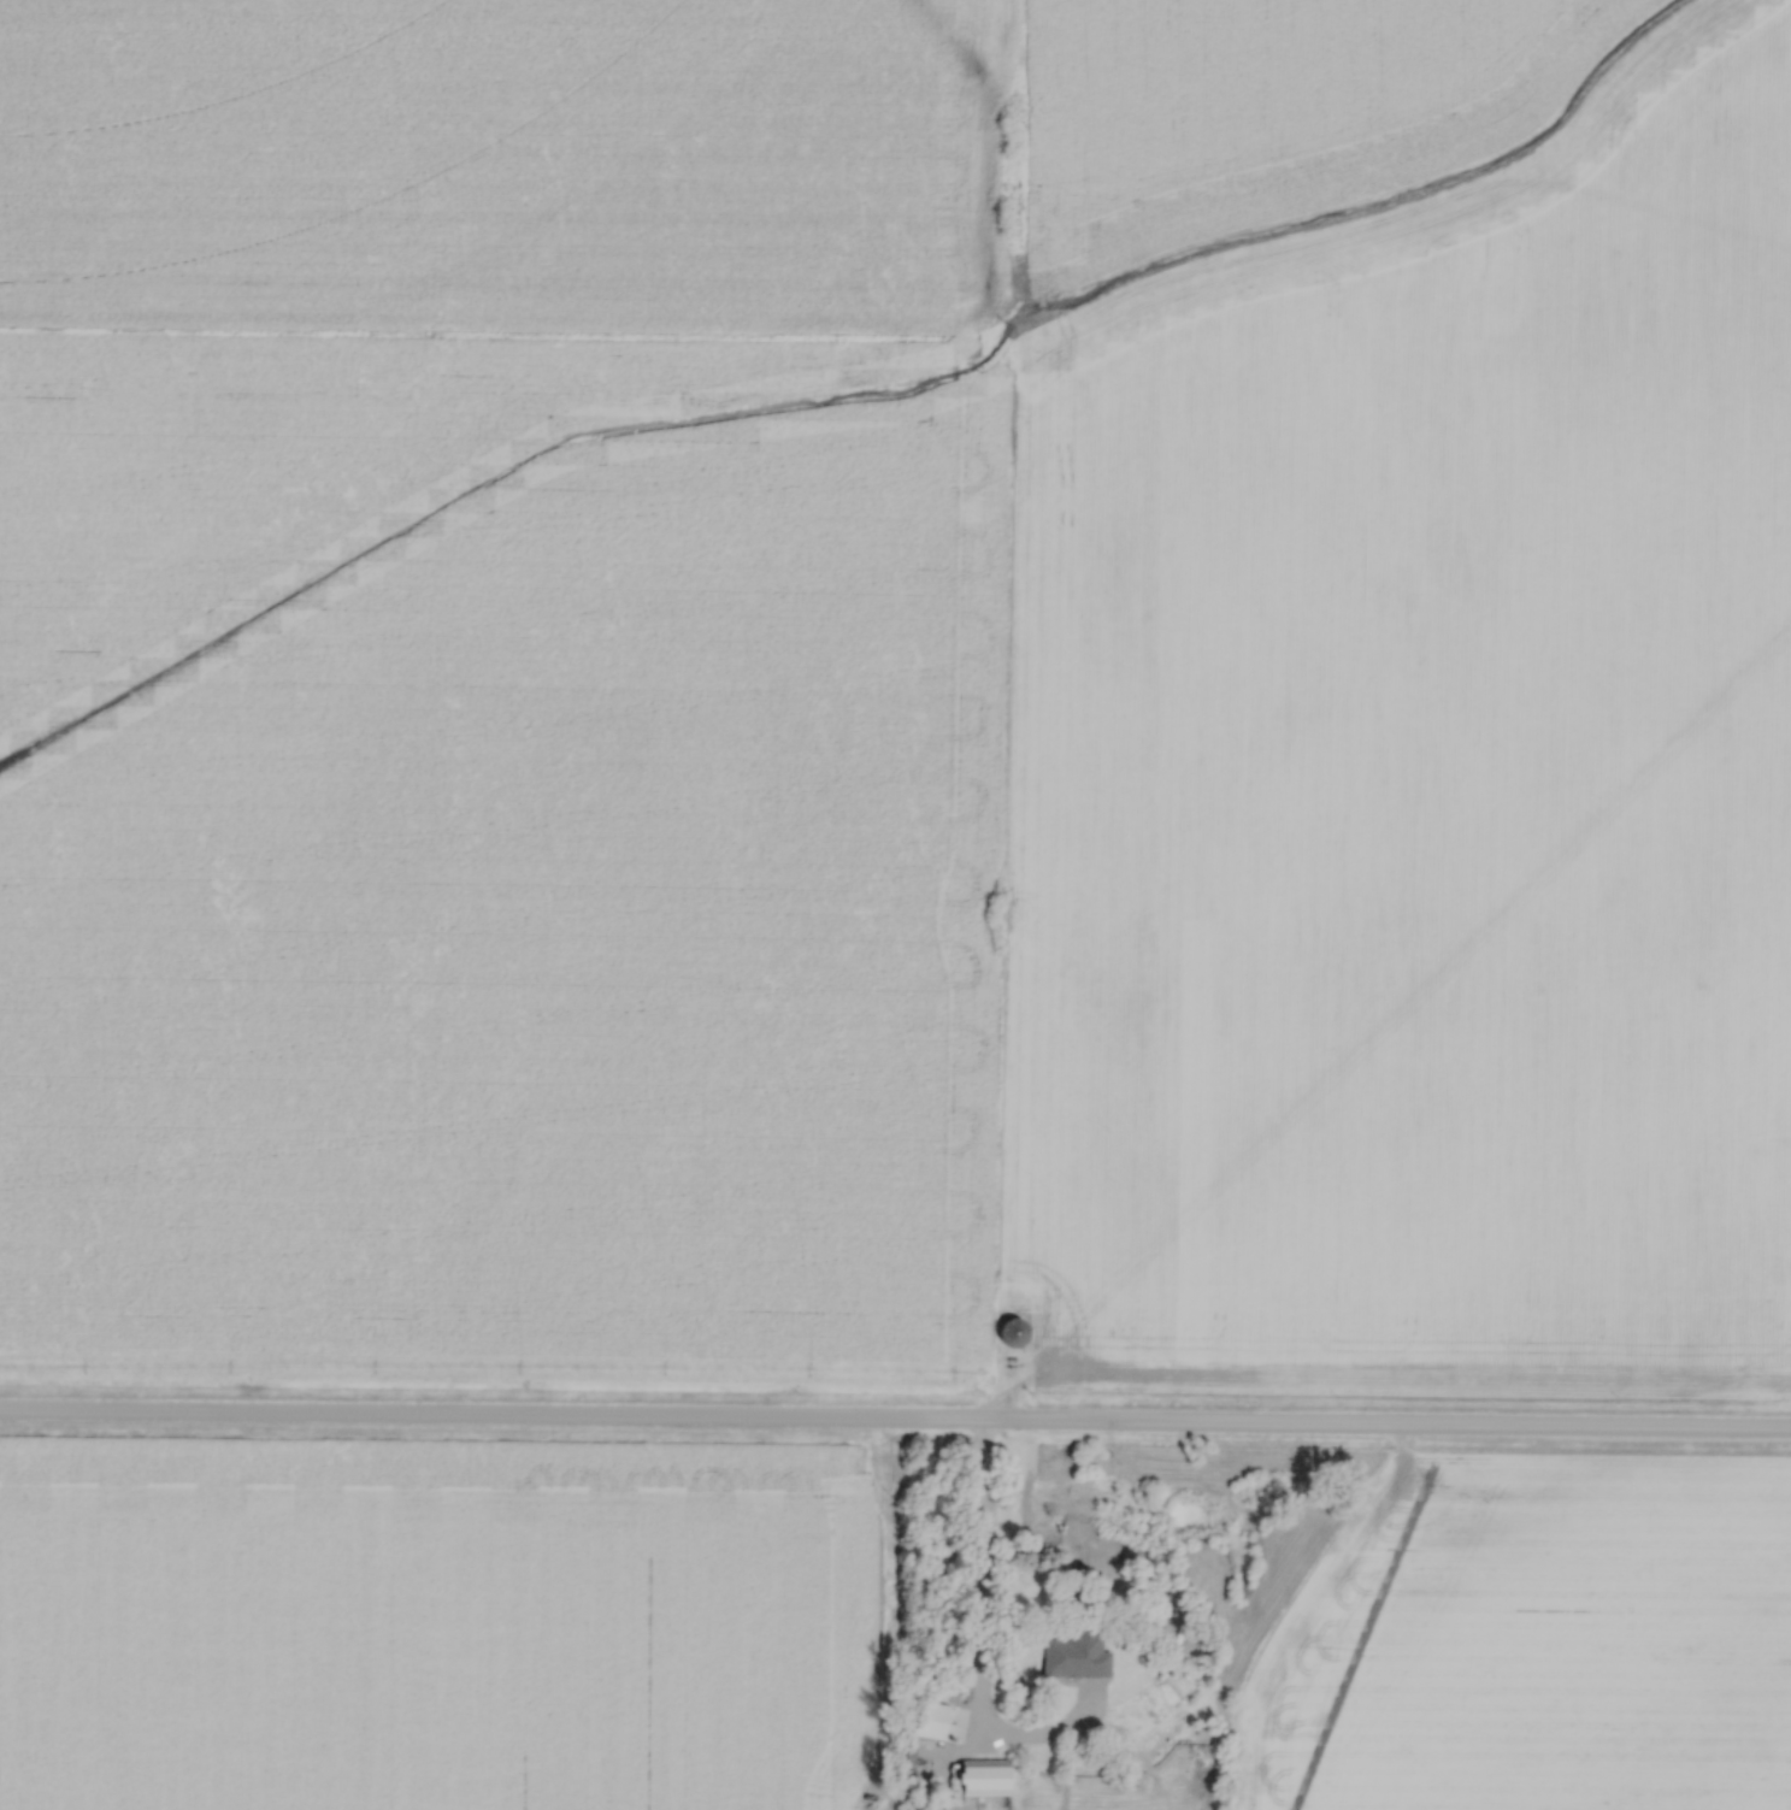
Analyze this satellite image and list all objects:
road: (895, 1421)
road: (979, 1634)
building: (1079, 1656)
building: (933, 1721)
building: (991, 1779)

